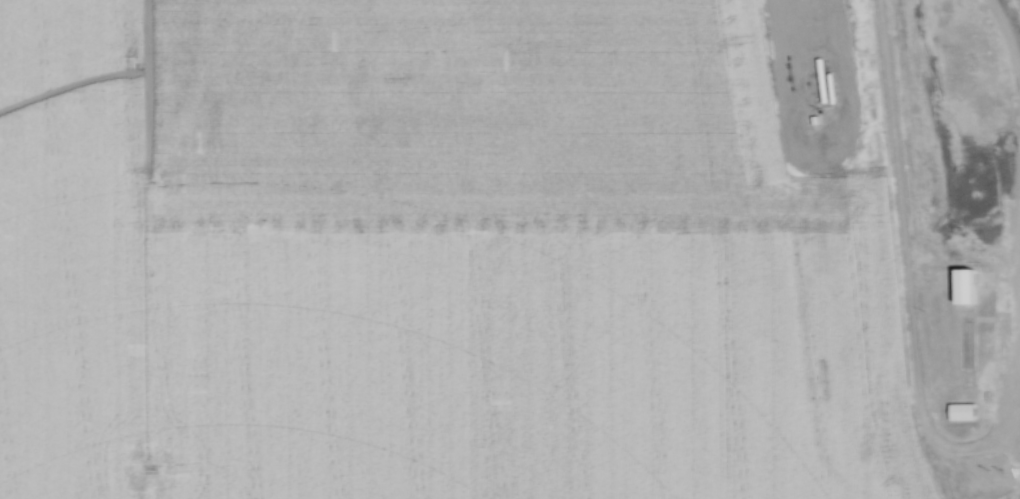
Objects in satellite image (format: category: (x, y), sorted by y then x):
road: (899, 269)
building: (1001, 323)
building: (972, 326)
building: (972, 338)
building: (972, 350)
building: (972, 362)

